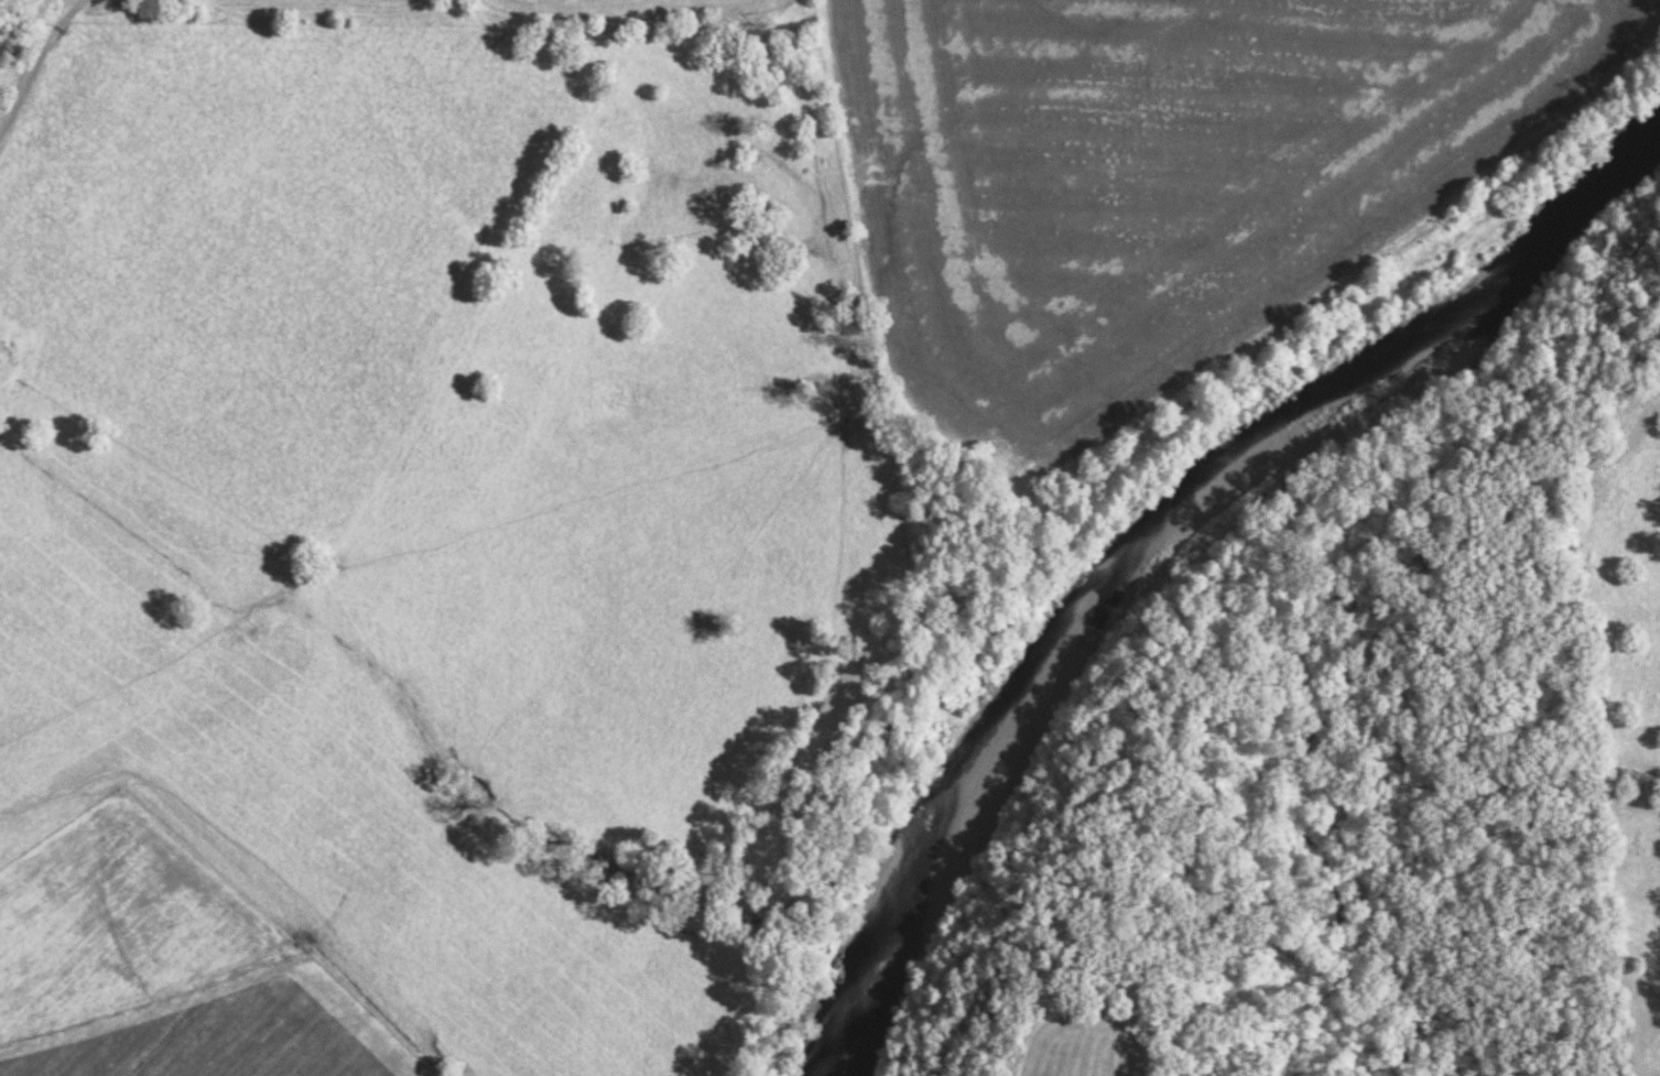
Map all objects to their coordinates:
road: (42, 69)
river: (1167, 529)

